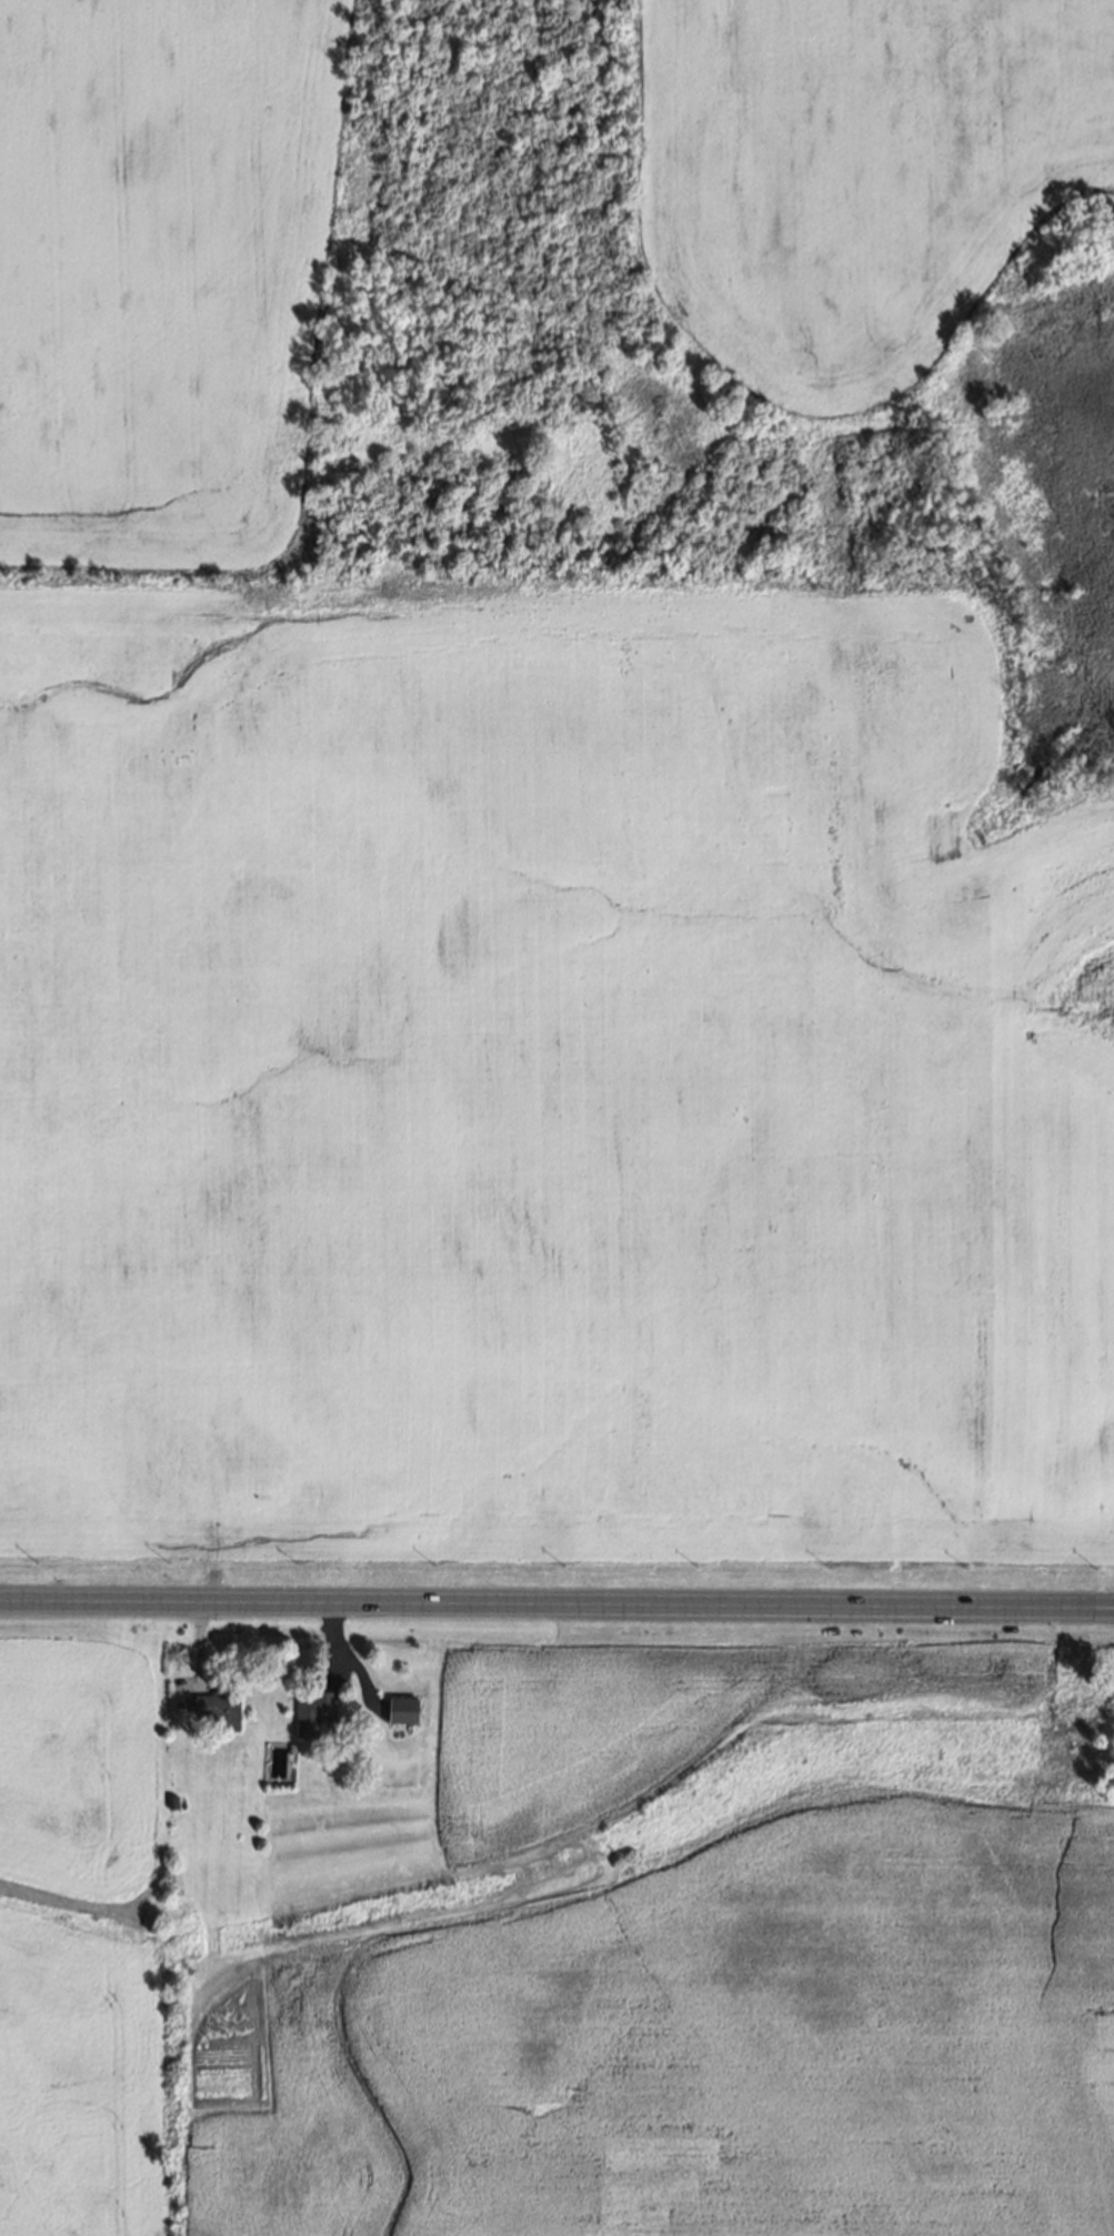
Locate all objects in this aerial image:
road: (556, 1602)
building: (215, 1703)
building: (398, 1708)
building: (309, 1709)
building: (289, 1749)
building: (171, 1805)

